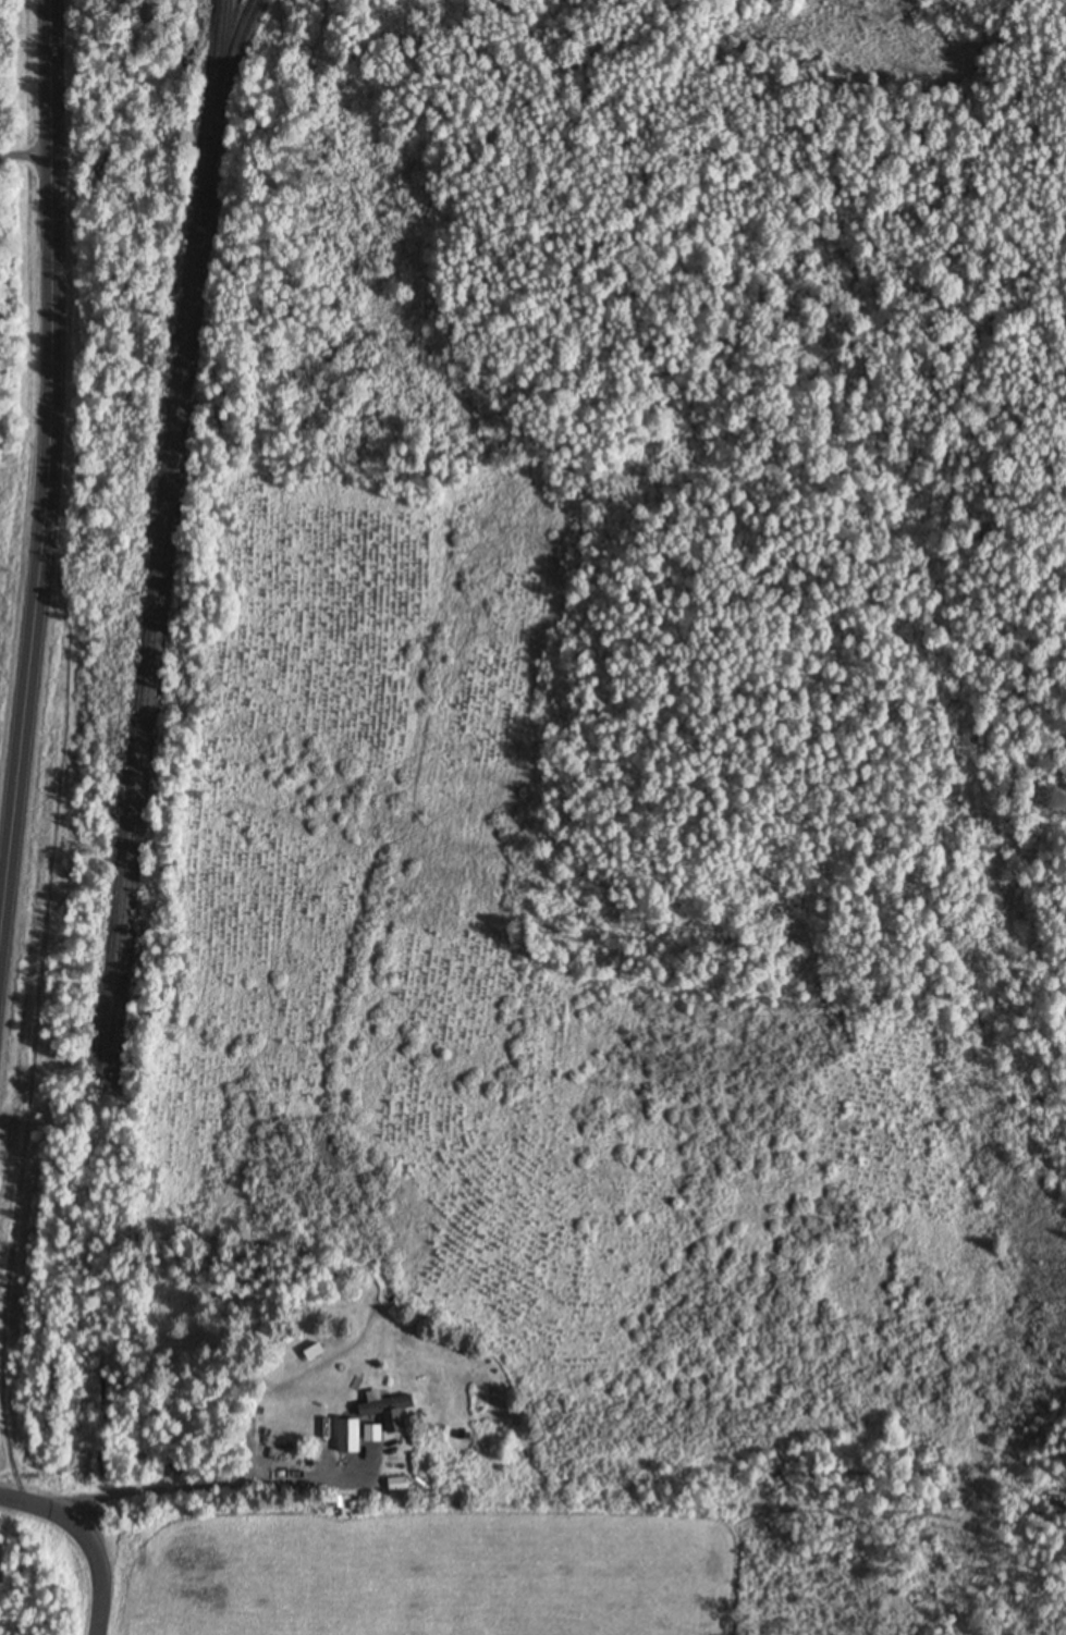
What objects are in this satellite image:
railway: (226, 82)
road: (45, 476)
railway: (163, 546)
building: (385, 1411)
building: (348, 1437)
building: (395, 1485)
road: (88, 1538)

